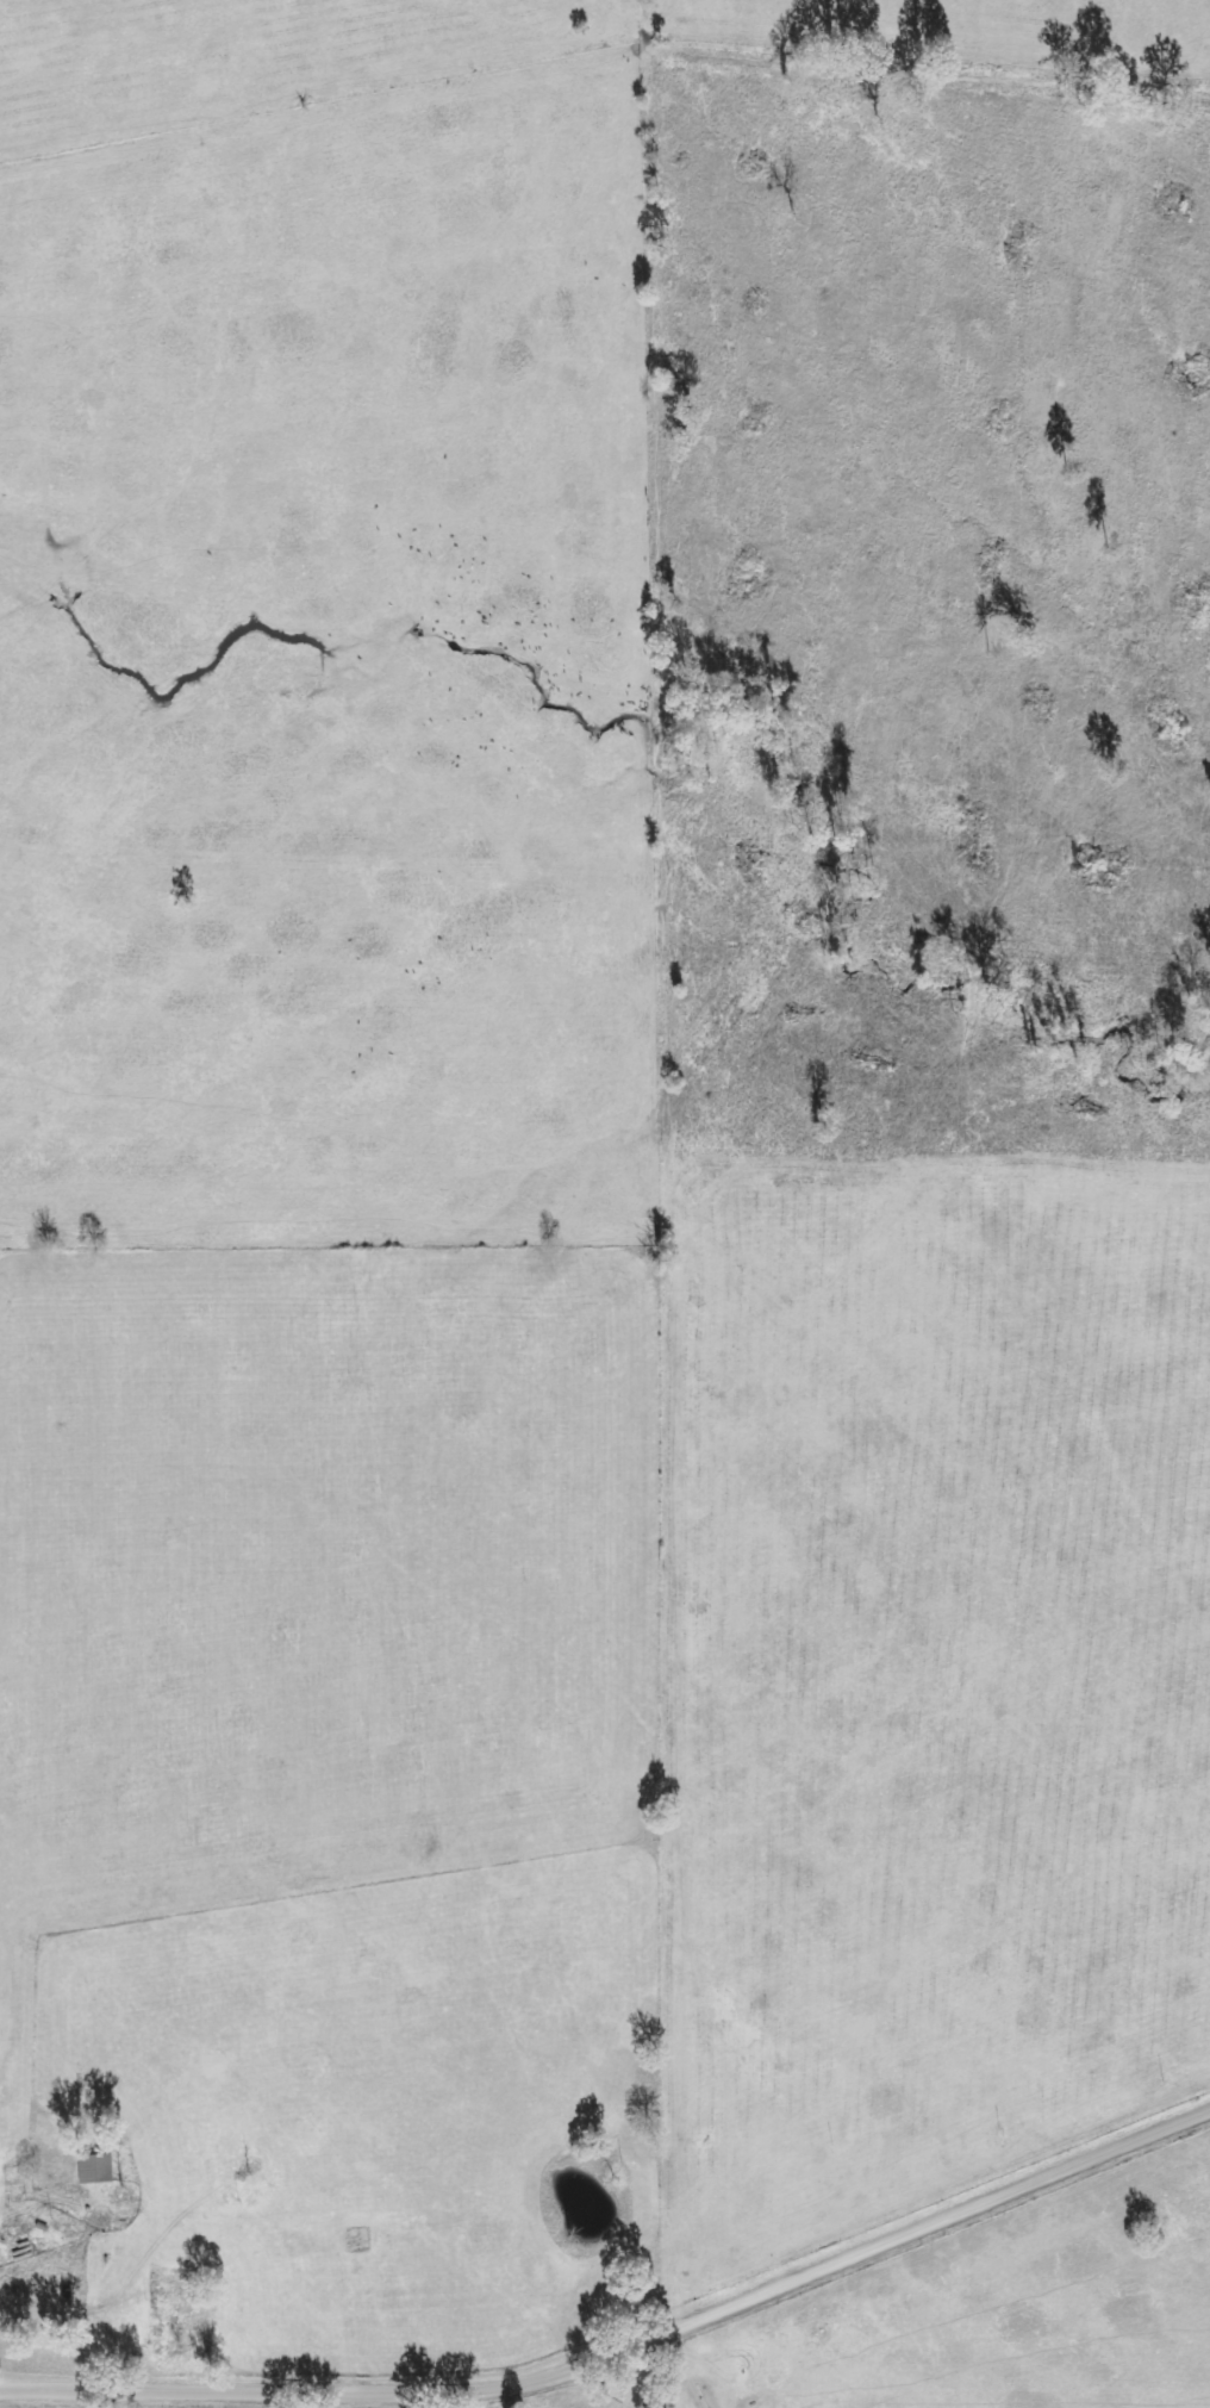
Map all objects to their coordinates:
road: (624, 2352)

